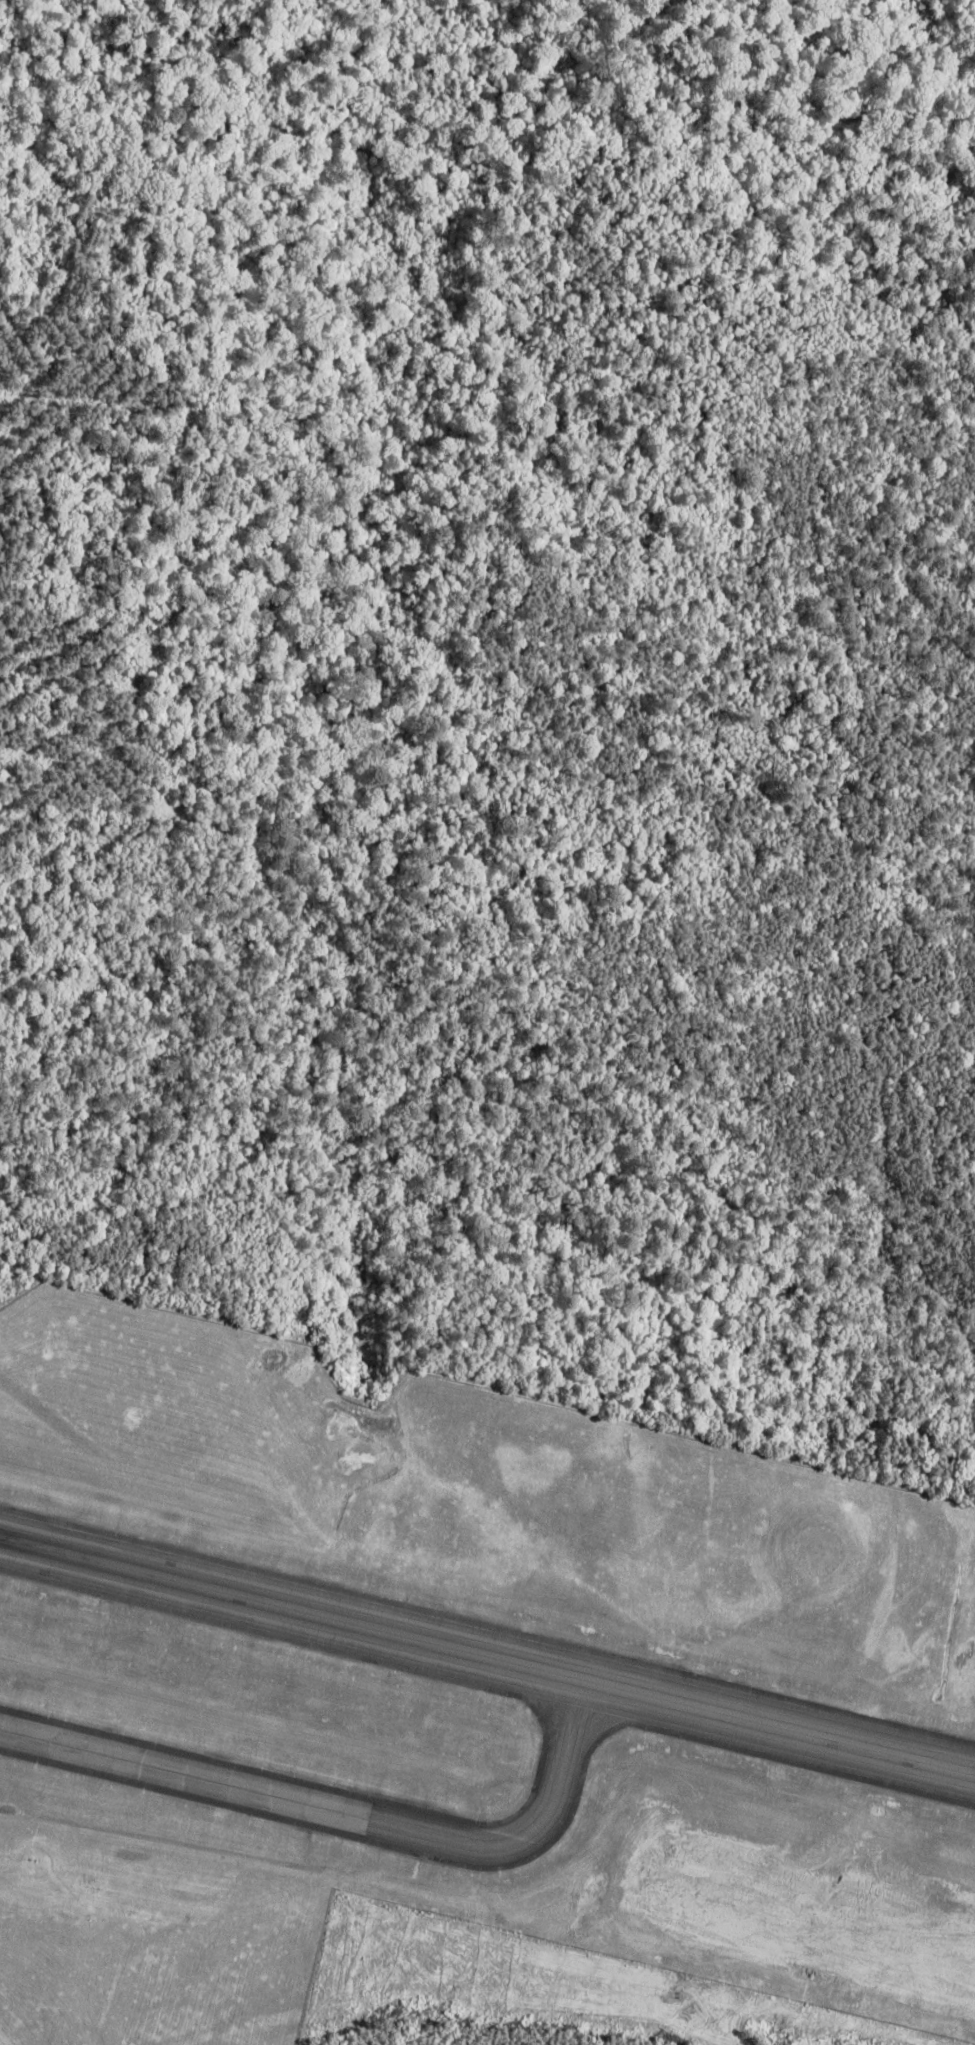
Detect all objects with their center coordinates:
airport runway: (487, 1656)
airport: (452, 1689)
airport taxiway: (560, 1700)
airport taxiway: (361, 1819)

